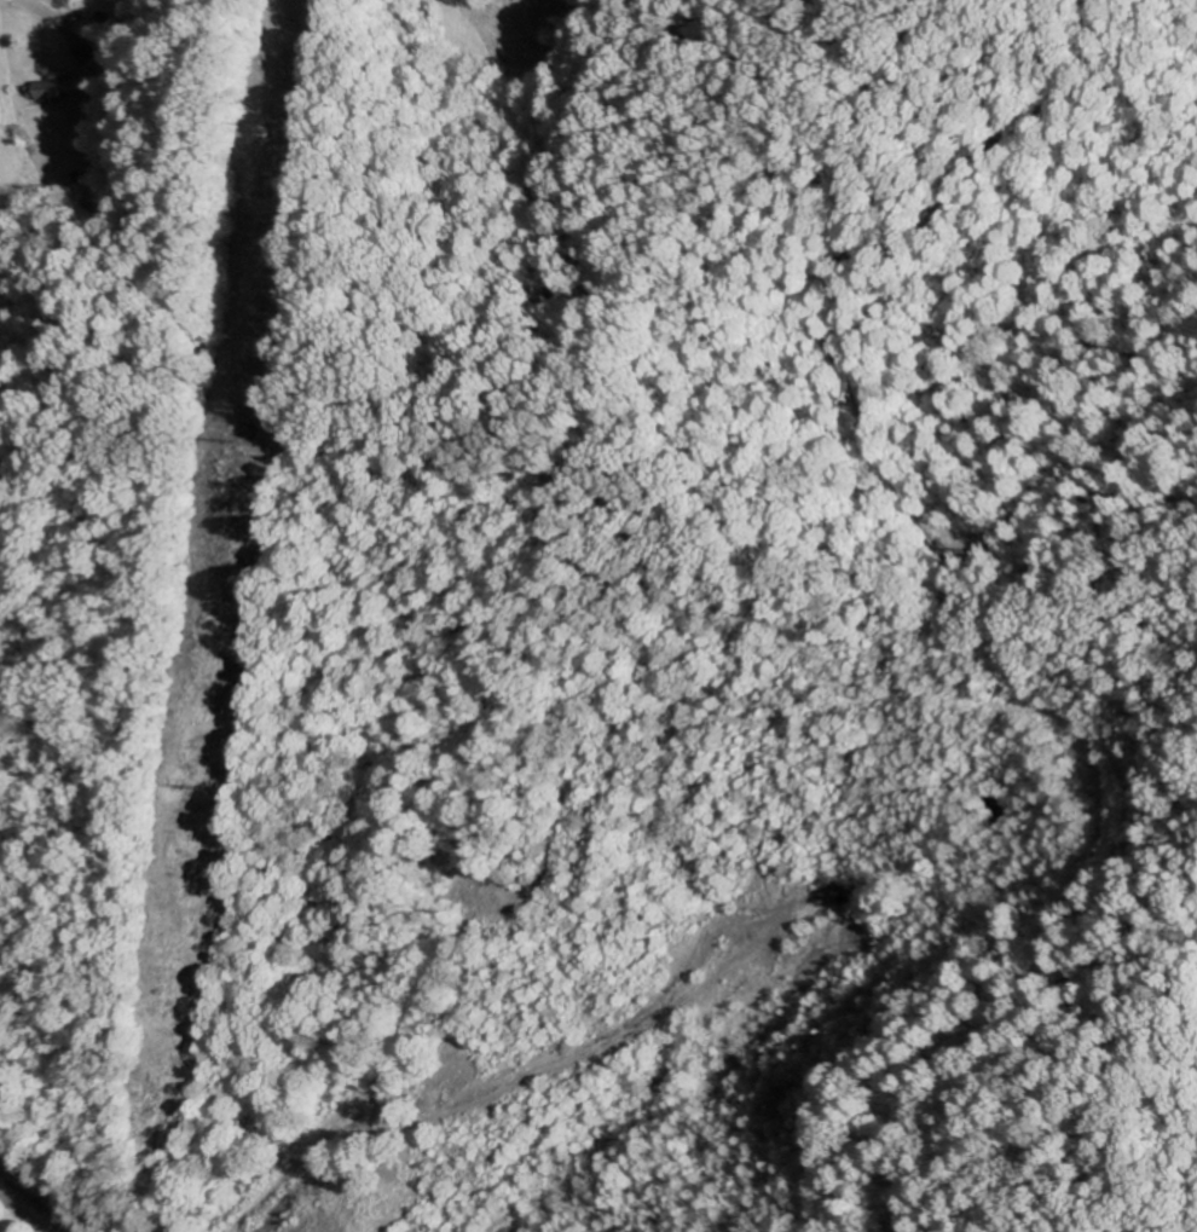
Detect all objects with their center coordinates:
building: (83, 56)
building: (52, 91)
power tower: (259, 122)
power tower: (215, 440)
power tower: (180, 788)

